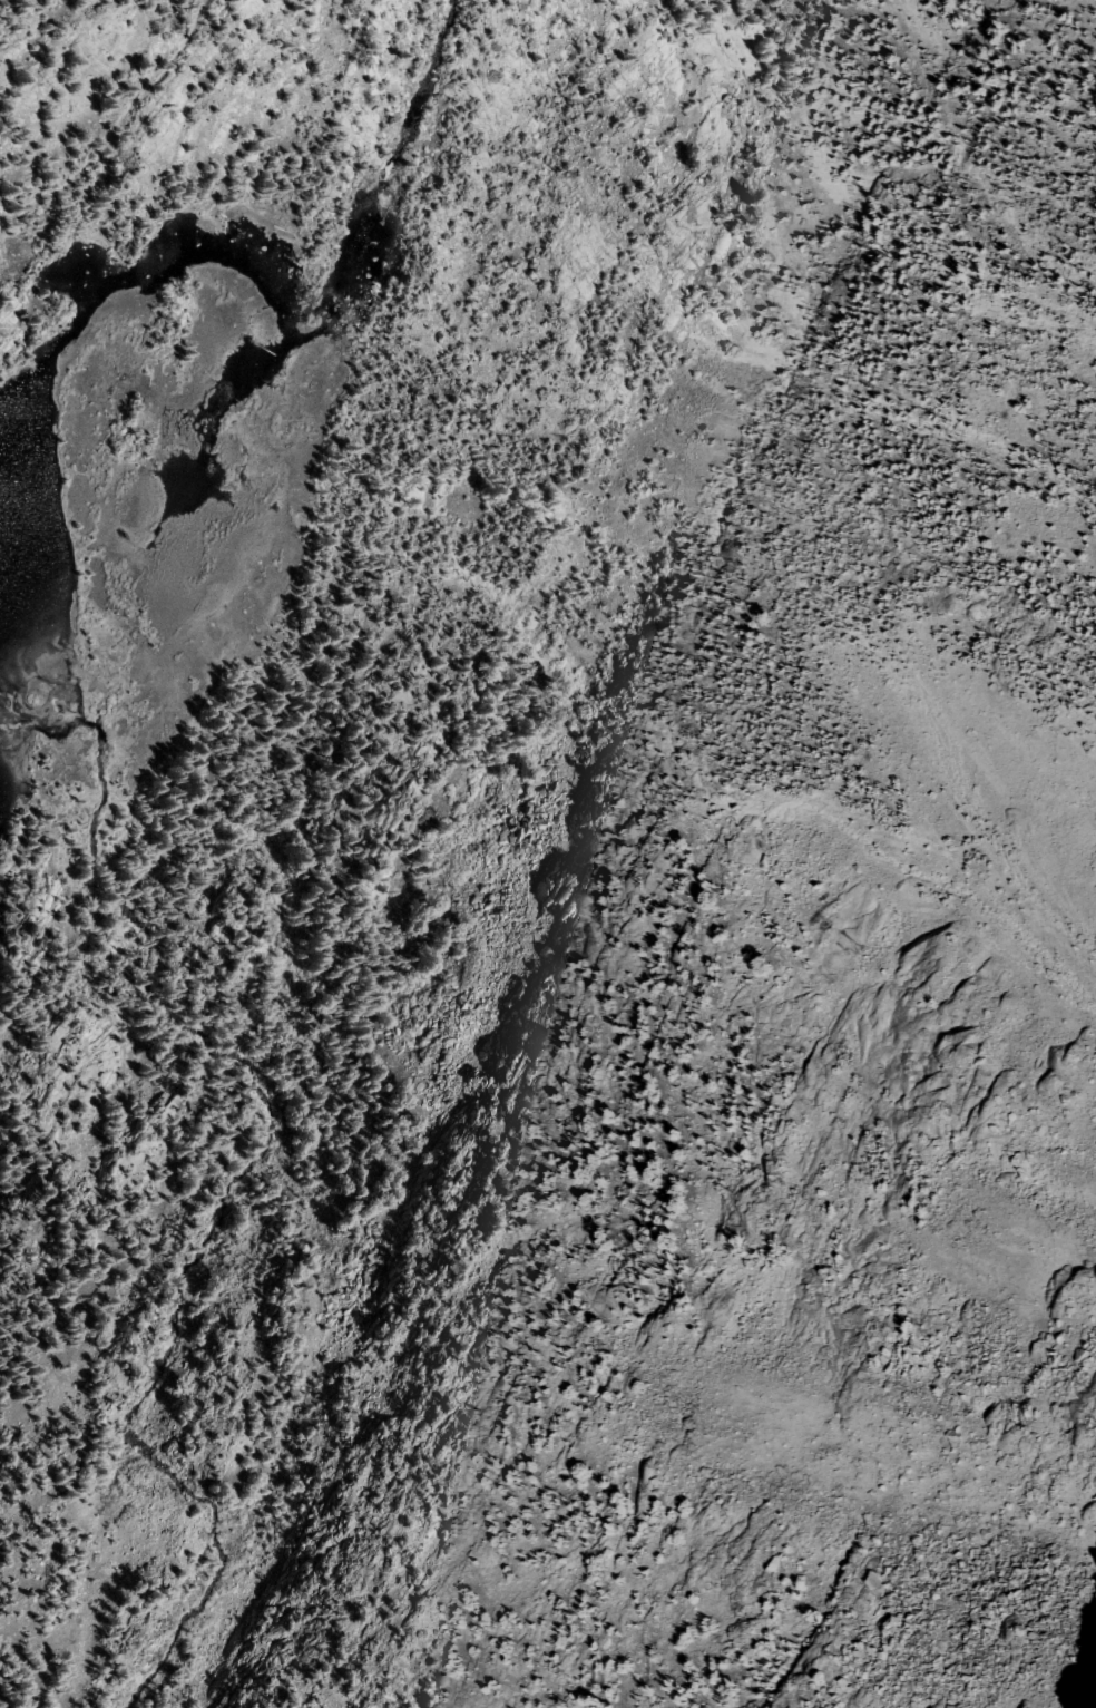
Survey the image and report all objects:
road: (119, 127)

